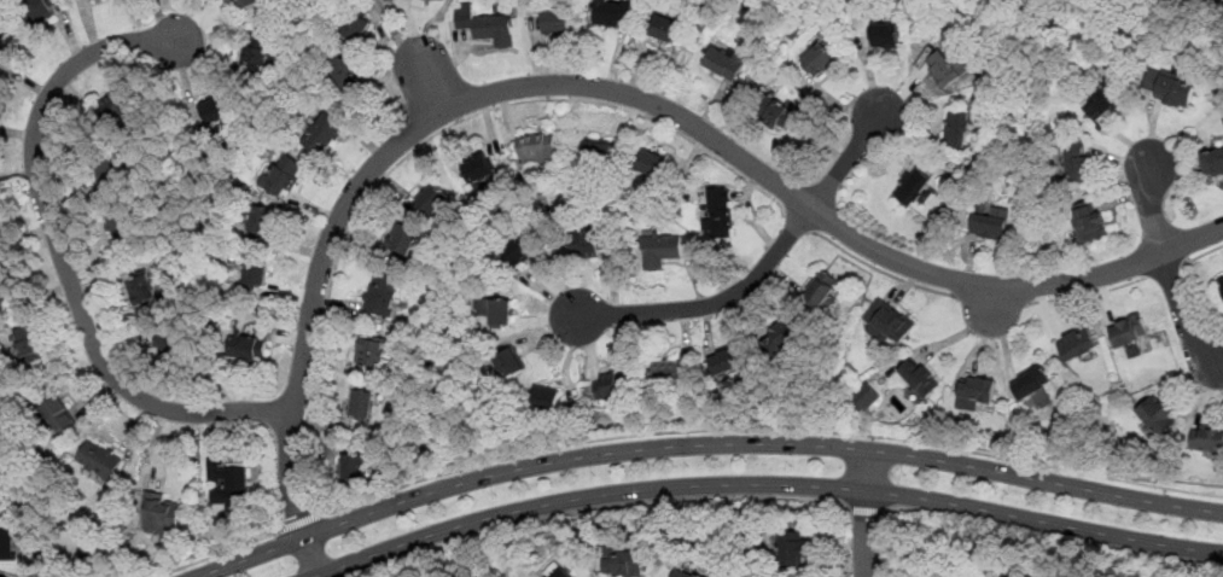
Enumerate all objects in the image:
building: (245, 4)
building: (39, 12)
building: (606, 17)
building: (557, 23)
building: (356, 27)
building: (496, 29)
building: (665, 29)
building: (885, 36)
building: (2, 40)
building: (816, 42)
building: (256, 53)
building: (820, 60)
building: (720, 62)
building: (944, 70)
building: (346, 74)
road: (604, 88)
building: (1174, 92)
building: (1102, 101)
building: (118, 110)
building: (215, 110)
building: (768, 115)
building: (956, 129)
building: (322, 133)
road: (423, 144)
building: (536, 147)
building: (599, 153)
road: (846, 162)
building: (1213, 162)
building: (1076, 163)
building: (106, 164)
building: (653, 164)
building: (479, 169)
building: (286, 175)
building: (912, 187)
building: (433, 199)
road: (1152, 209)
building: (263, 221)
road: (797, 221)
building: (1089, 222)
building: (717, 223)
building: (989, 227)
building: (124, 228)
building: (403, 239)
building: (586, 245)
building: (660, 251)
road: (1202, 252)
road: (62, 255)
building: (509, 257)
road: (1165, 268)
road: (881, 269)
building: (257, 273)
building: (1221, 281)
building: (5, 290)
building: (142, 290)
building: (814, 293)
road: (1088, 295)
building: (383, 296)
road: (991, 299)
road: (714, 303)
building: (501, 311)
road: (1182, 315)
building: (886, 331)
building: (1129, 331)
building: (780, 339)
building: (30, 344)
building: (173, 344)
building: (1076, 344)
building: (247, 349)
building: (373, 354)
building: (727, 359)
building: (509, 362)
building: (666, 374)
building: (919, 378)
building: (1031, 381)
building: (613, 385)
building: (915, 394)
building: (864, 397)
building: (546, 398)
building: (969, 398)
building: (365, 409)
building: (60, 415)
building: (1158, 415)
road: (767, 430)
building: (1207, 439)
road: (703, 445)
building: (101, 461)
building: (354, 467)
road: (764, 485)
building: (228, 486)
road: (669, 502)
building: (1, 506)
road: (864, 509)
road: (864, 514)
building: (163, 518)
road: (297, 523)
road: (1052, 537)
road: (878, 543)
building: (7, 547)
building: (788, 548)
road: (216, 553)
road: (425, 553)
building: (622, 563)
building: (555, 571)
building: (682, 575)
building: (697, 576)

